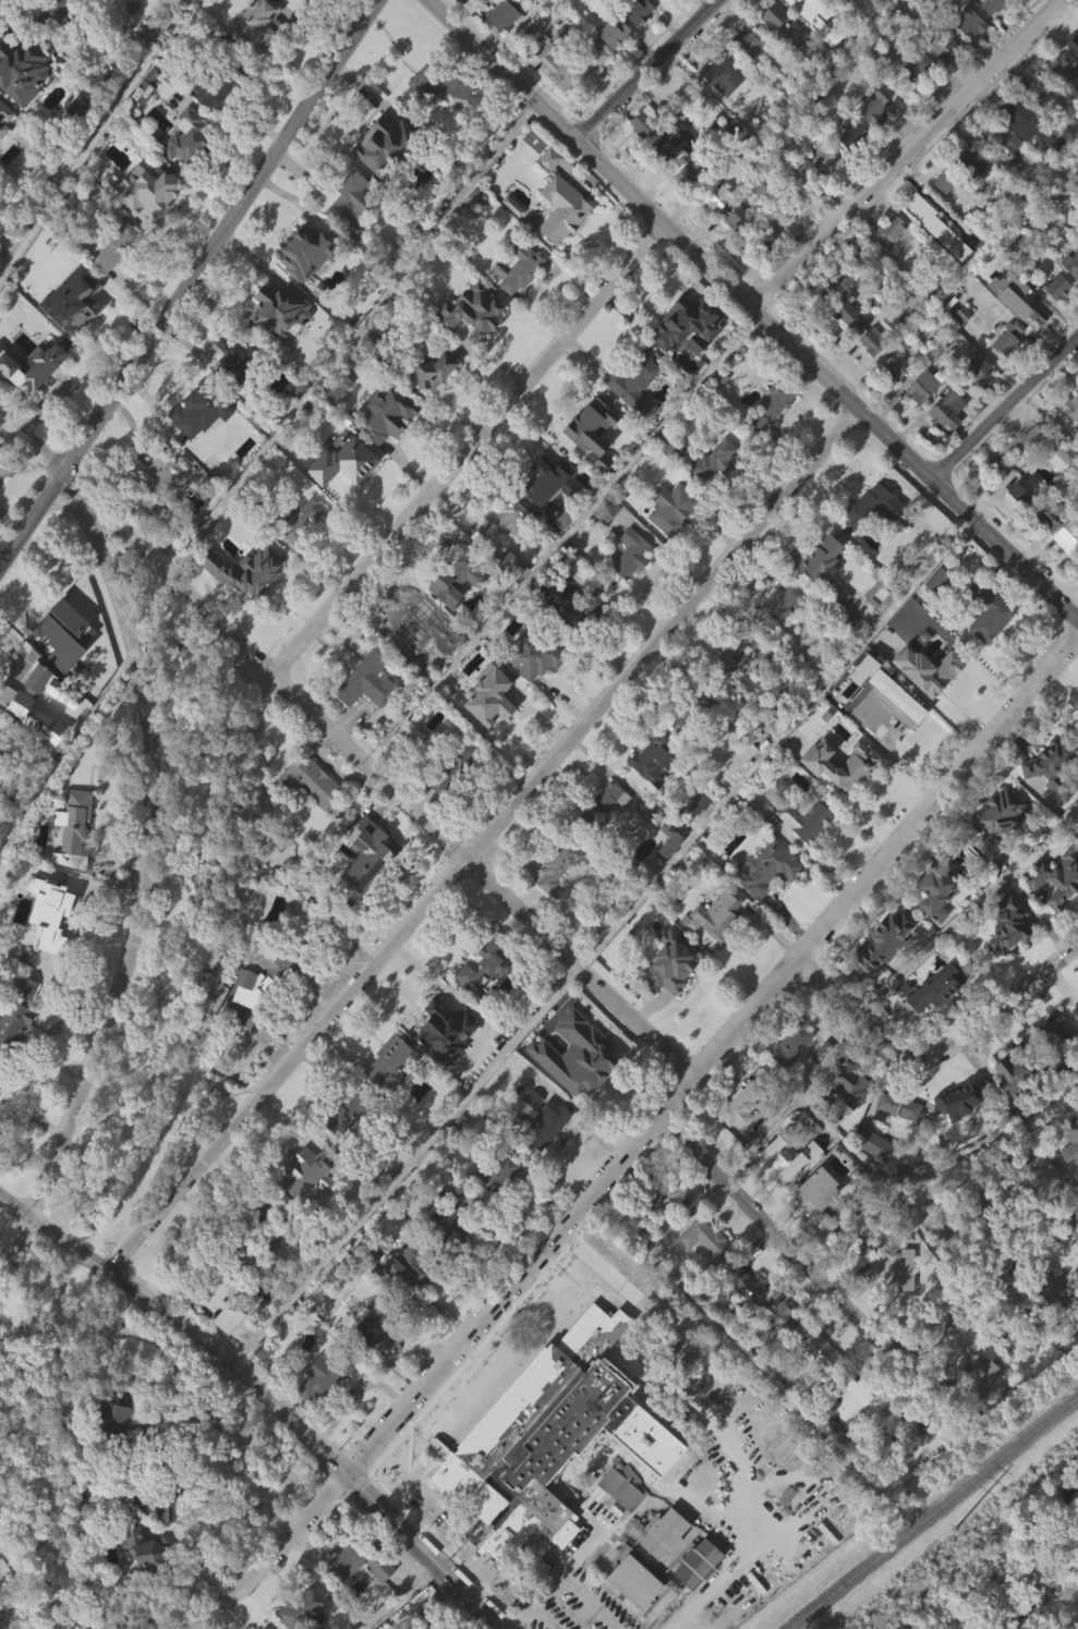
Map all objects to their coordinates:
building: (475, 0)
building: (483, 0)
building: (679, 2)
building: (943, 2)
building: (814, 3)
building: (82, 5)
building: (295, 5)
building: (993, 5)
building: (1014, 9)
building: (634, 10)
building: (50, 13)
building: (771, 13)
building: (469, 15)
building: (498, 15)
building: (969, 23)
building: (257, 27)
road: (512, 27)
building: (615, 33)
building: (991, 34)
building: (1076, 36)
building: (807, 41)
building: (634, 42)
building: (748, 44)
building: (940, 44)
building: (770, 47)
building: (1075, 48)
building: (500, 49)
building: (594, 52)
building: (966, 57)
building: (255, 58)
building: (1058, 65)
building: (610, 66)
building: (917, 66)
building: (556, 68)
building: (791, 68)
building: (22, 69)
building: (719, 69)
road: (646, 71)
building: (748, 76)
building: (1073, 77)
building: (940, 78)
building: (216, 84)
building: (433, 84)
building: (591, 86)
building: (1035, 86)
building: (1056, 98)
building: (916, 99)
building: (554, 100)
building: (873, 105)
building: (722, 107)
building: (1015, 110)
building: (4, 117)
building: (1032, 119)
building: (431, 120)
building: (643, 122)
building: (138, 124)
building: (213, 125)
road: (92, 133)
building: (850, 134)
building: (873, 136)
building: (998, 136)
building: (185, 138)
building: (670, 139)
building: (386, 143)
building: (3, 150)
road: (905, 154)
building: (641, 155)
building: (965, 158)
building: (822, 161)
building: (847, 168)
building: (996, 168)
building: (182, 170)
building: (670, 173)
building: (378, 179)
building: (945, 180)
building: (819, 192)
building: (968, 193)
building: (715, 196)
building: (342, 197)
building: (558, 202)
building: (1076, 202)
building: (691, 203)
building: (942, 214)
building: (1077, 218)
building: (738, 219)
building: (141, 223)
building: (889, 228)
building: (473, 230)
building: (1053, 230)
building: (323, 231)
building: (714, 231)
building: (557, 234)
building: (765, 244)
building: (113, 246)
building: (735, 251)
building: (303, 252)
building: (933, 259)
building: (888, 260)
building: (1070, 264)
building: (354, 265)
building: (519, 266)
building: (765, 271)
building: (821, 278)
building: (111, 284)
building: (302, 284)
road: (190, 287)
building: (1056, 287)
building: (851, 289)
building: (1070, 295)
building: (517, 300)
building: (834, 300)
building: (78, 304)
building: (278, 309)
building: (469, 311)
road: (752, 311)
building: (844, 313)
building: (1053, 319)
building: (688, 323)
building: (1008, 340)
building: (872, 341)
building: (276, 342)
building: (468, 344)
building: (841, 345)
building: (958, 345)
building: (682, 355)
building: (233, 361)
building: (895, 364)
building: (427, 370)
building: (982, 370)
building: (1004, 373)
building: (869, 374)
building: (631, 382)
building: (336, 386)
building: (921, 386)
building: (893, 397)
building: (976, 399)
building: (32, 401)
building: (774, 402)
building: (431, 403)
road: (1003, 405)
building: (1070, 408)
building: (944, 411)
building: (384, 413)
building: (196, 414)
building: (630, 416)
building: (920, 418)
building: (331, 422)
building: (585, 425)
building: (767, 438)
building: (943, 440)
building: (1069, 441)
building: (198, 445)
building: (383, 446)
road: (467, 449)
building: (998, 451)
building: (1058, 453)
building: (589, 459)
building: (714, 461)
building: (547, 476)
building: (1014, 476)
building: (152, 477)
building: (1055, 488)
building: (1022, 489)
building: (710, 495)
building: (344, 498)
building: (871, 503)
building: (671, 508)
building: (606, 510)
building: (154, 511)
building: (545, 514)
building: (1049, 514)
building: (296, 520)
building: (1022, 521)
building: (500, 522)
building: (871, 537)
building: (1067, 537)
road: (560, 538)
building: (668, 540)
building: (604, 544)
building: (1047, 547)
building: (630, 552)
building: (497, 558)
building: (510, 564)
building: (257, 569)
building: (1064, 570)
building: (452, 579)
building: (936, 580)
building: (628, 587)
building: (501, 591)
building: (1077, 593)
building: (822, 600)
building: (240, 604)
building: (776, 607)
building: (579, 608)
building: (989, 610)
building: (453, 611)
building: (934, 613)
building: (414, 624)
building: (56, 627)
building: (777, 636)
building: (573, 641)
building: (985, 645)
building: (534, 653)
building: (767, 656)
building: (729, 658)
building: (412, 659)
building: (947, 664)
building: (62, 667)
building: (366, 680)
building: (762, 686)
building: (524, 688)
building: (729, 689)
building: (924, 702)
building: (484, 705)
building: (693, 712)
building: (364, 715)
building: (44, 717)
building: (487, 730)
building: (882, 738)
road: (775, 740)
road: (347, 744)
building: (31, 751)
building: (680, 753)
building: (654, 755)
building: (2, 759)
building: (450, 762)
building: (844, 763)
building: (1053, 764)
building: (308, 780)
road: (938, 792)
building: (650, 793)
building: (855, 798)
building: (1049, 800)
building: (630, 805)
building: (306, 814)
building: (1000, 816)
building: (802, 817)
building: (73, 822)
building: (605, 831)
road: (483, 839)
building: (667, 839)
road: (146, 850)
building: (995, 850)
building: (801, 851)
building: (366, 858)
building: (70, 862)
building: (559, 864)
building: (766, 867)
building: (666, 872)
building: (1057, 877)
building: (936, 893)
building: (765, 900)
building: (549, 904)
road: (968, 907)
building: (1054, 912)
building: (717, 913)
building: (45, 916)
park: (178, 924)
building: (932, 924)
building: (1010, 926)
building: (883, 939)
building: (47, 945)
building: (712, 948)
building: (275, 956)
building: (1005, 958)
building: (670, 961)
building: (484, 964)
building: (883, 973)
building: (934, 989)
building: (32, 995)
building: (479, 995)
building: (667, 995)
building: (270, 998)
road: (1007, 1001)
building: (1076, 1005)
building: (14, 1012)
road: (864, 1016)
building: (244, 1021)
building: (932, 1022)
building: (1076, 1028)
building: (1050, 1031)
building: (14, 1044)
building: (1074, 1044)
building: (792, 1046)
building: (573, 1055)
building: (1055, 1060)
building: (392, 1061)
building: (440, 1065)
building: (789, 1073)
building: (1018, 1073)
building: (846, 1082)
building: (572, 1086)
building: (385, 1096)
building: (958, 1101)
building: (900, 1105)
building: (737, 1106)
building: (1012, 1106)
building: (355, 1115)
building: (844, 1117)
building: (537, 1123)
building: (894, 1139)
building: (736, 1141)
building: (873, 1144)
building: (342, 1145)
building: (1071, 1145)
building: (545, 1160)
building: (298, 1163)
road: (407, 1163)
building: (778, 1165)
building: (1068, 1174)
building: (495, 1175)
building: (1030, 1176)
building: (870, 1178)
building: (784, 1191)
building: (650, 1196)
building: (983, 1196)
building: (819, 1200)
building: (300, 1205)
building: (448, 1206)
building: (1030, 1208)
building: (484, 1211)
road: (572, 1212)
building: (265, 1219)
building: (813, 1225)
building: (649, 1229)
building: (947, 1232)
road: (777, 1233)
building: (848, 1233)
building: (703, 1239)
road: (17, 1255)
building: (412, 1267)
building: (1077, 1267)
building: (895, 1268)
building: (702, 1272)
building: (856, 1275)
road: (993, 1276)
building: (213, 1277)
building: (742, 1280)
building: (403, 1299)
building: (888, 1302)
building: (1061, 1302)
building: (740, 1313)
building: (780, 1317)
road: (183, 1321)
building: (371, 1323)
building: (241, 1329)
building: (1020, 1332)
building: (219, 1336)
building: (775, 1348)
building: (822, 1352)
building: (368, 1360)
building: (1005, 1372)
building: (981, 1374)
building: (323, 1375)
building: (816, 1384)
building: (853, 1402)
building: (981, 1406)
building: (314, 1412)
building: (917, 1415)
building: (113, 1422)
building: (495, 1435)
building: (852, 1435)
building: (150, 1442)
building: (109, 1450)
building: (629, 1460)
building: (579, 1476)
building: (175, 1492)
building: (610, 1510)
railway: (931, 1510)
power tower: (950, 1532)
building: (160, 1541)
building: (147, 1548)
road: (426, 1549)
road: (271, 1553)
building: (360, 1560)
building: (661, 1566)
building: (140, 1581)
road: (565, 1589)
building: (353, 1594)
building: (694, 1596)
building: (300, 1607)
building: (631, 1612)
building: (432, 1619)
building: (111, 1621)
building: (308, 1624)
building: (266, 1627)
building: (258, 1628)

